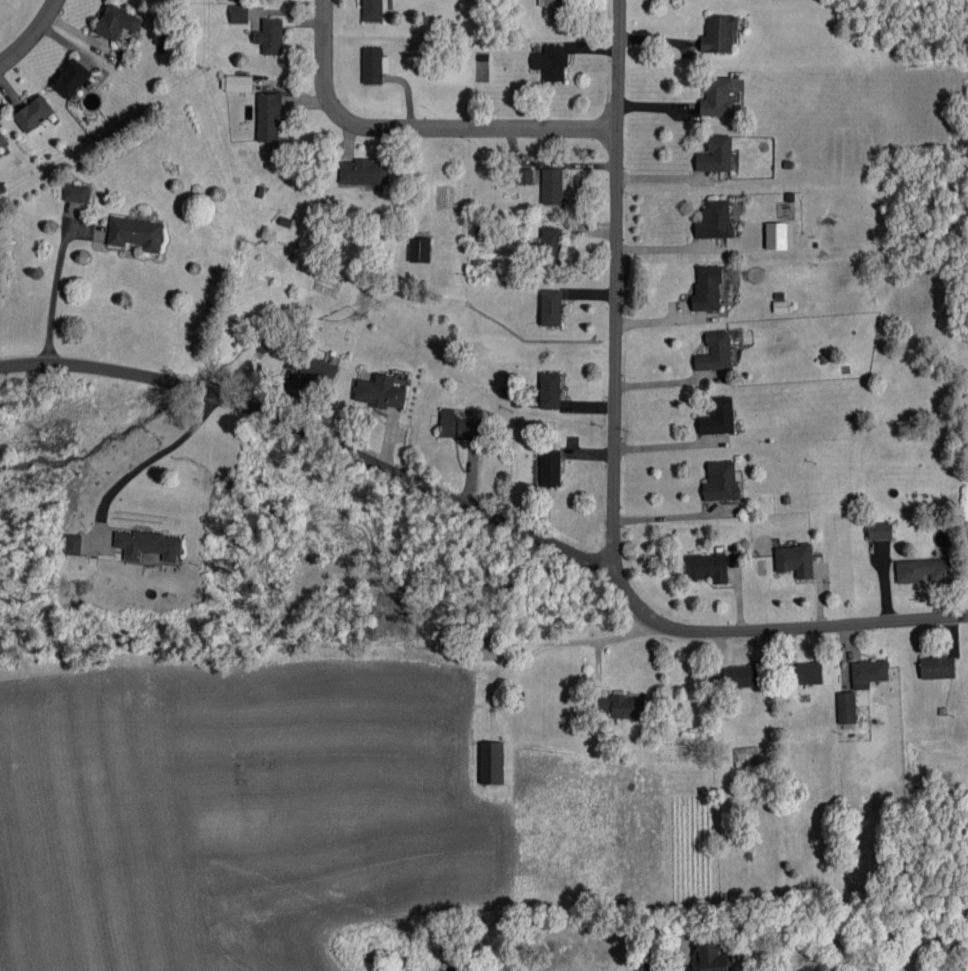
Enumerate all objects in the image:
building: (553, 8)
building: (373, 10)
building: (240, 14)
building: (117, 22)
building: (719, 34)
road: (32, 36)
building: (270, 36)
building: (551, 62)
building: (374, 65)
building: (72, 78)
building: (236, 83)
building: (717, 96)
building: (34, 113)
building: (269, 117)
road: (417, 129)
building: (2, 139)
building: (716, 154)
building: (364, 172)
building: (525, 176)
building: (553, 186)
building: (76, 193)
building: (715, 220)
building: (135, 233)
building: (777, 236)
building: (552, 245)
building: (419, 249)
road: (615, 287)
building: (707, 289)
road: (61, 290)
building: (551, 307)
building: (715, 352)
building: (311, 367)
building: (547, 391)
building: (380, 392)
building: (718, 416)
building: (459, 426)
road: (157, 455)
building: (550, 468)
building: (721, 481)
road: (488, 515)
road: (665, 516)
building: (880, 531)
building: (73, 544)
building: (148, 545)
building: (795, 560)
building: (708, 567)
building: (925, 570)
building: (480, 649)
building: (938, 666)
building: (806, 673)
building: (869, 673)
building: (741, 676)
building: (623, 706)
building: (846, 707)
building: (746, 757)
building: (492, 762)
building: (711, 956)

